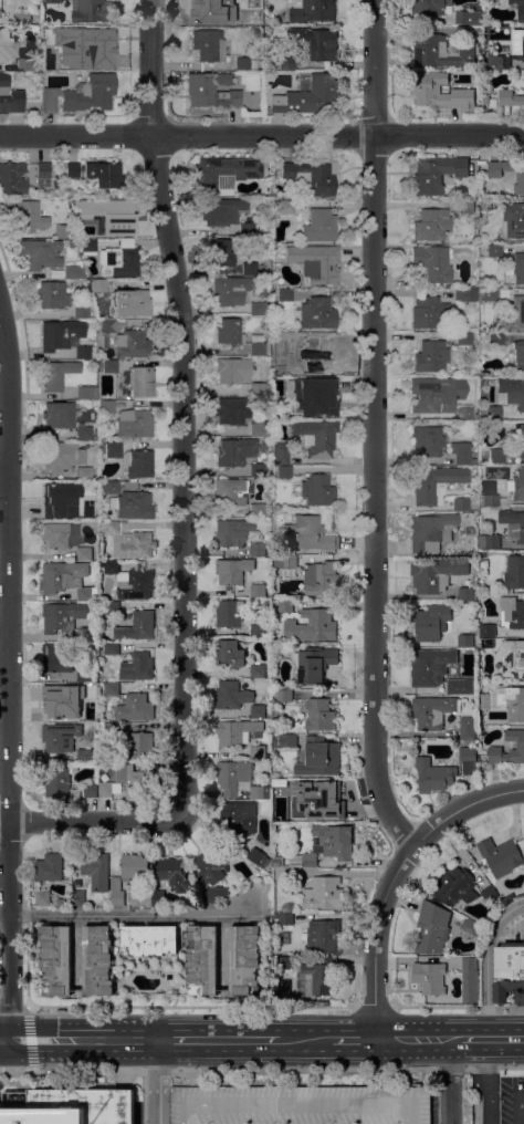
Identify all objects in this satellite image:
building: (53, 1)
building: (431, 7)
building: (518, 8)
building: (0, 9)
building: (209, 10)
building: (90, 11)
building: (313, 11)
building: (465, 18)
building: (23, 19)
building: (464, 33)
building: (7, 45)
building: (209, 45)
building: (322, 45)
building: (95, 46)
building: (441, 53)
building: (520, 53)
building: (499, 61)
building: (24, 63)
building: (59, 63)
building: (245, 63)
building: (261, 63)
building: (286, 63)
building: (4, 80)
building: (213, 91)
building: (436, 91)
building: (82, 94)
building: (308, 95)
building: (510, 97)
building: (486, 98)
building: (13, 102)
building: (243, 110)
building: (266, 110)
road: (261, 135)
building: (268, 160)
building: (60, 163)
building: (72, 169)
building: (105, 173)
building: (226, 173)
building: (43, 174)
building: (437, 174)
building: (313, 175)
building: (12, 177)
building: (521, 181)
building: (56, 183)
building: (284, 206)
building: (467, 206)
building: (485, 206)
building: (78, 207)
building: (222, 210)
building: (24, 215)
building: (116, 219)
building: (513, 220)
building: (431, 223)
building: (319, 226)
building: (247, 229)
building: (63, 230)
building: (481, 239)
building: (73, 242)
building: (87, 244)
building: (495, 250)
building: (220, 252)
building: (41, 253)
building: (120, 260)
building: (317, 262)
building: (433, 262)
building: (517, 267)
building: (250, 268)
building: (74, 271)
building: (56, 272)
building: (99, 284)
building: (230, 290)
building: (52, 294)
building: (285, 294)
building: (467, 294)
building: (490, 294)
building: (127, 302)
building: (258, 308)
building: (518, 311)
building: (82, 312)
building: (431, 312)
building: (317, 313)
building: (109, 325)
building: (230, 331)
building: (66, 337)
building: (496, 337)
building: (465, 339)
building: (133, 343)
building: (258, 344)
building: (316, 352)
building: (518, 355)
building: (431, 356)
building: (108, 366)
building: (232, 370)
building: (59, 375)
building: (142, 382)
building: (286, 383)
building: (260, 388)
building: (87, 392)
building: (437, 394)
building: (515, 394)
building: (484, 399)
building: (321, 400)
building: (107, 406)
road: (185, 406)
building: (234, 410)
building: (465, 412)
building: (491, 412)
building: (56, 418)
building: (135, 424)
building: (258, 429)
building: (87, 431)
building: (317, 436)
building: (520, 438)
building: (428, 441)
building: (113, 450)
building: (235, 451)
building: (461, 452)
building: (282, 454)
building: (493, 455)
building: (63, 456)
building: (140, 464)
building: (258, 469)
building: (285, 471)
road: (4, 473)
building: (85, 473)
building: (436, 483)
building: (518, 485)
building: (109, 487)
building: (318, 490)
building: (231, 491)
building: (489, 500)
building: (60, 501)
building: (461, 503)
building: (133, 504)
building: (474, 506)
building: (258, 509)
building: (513, 524)
road: (376, 530)
building: (432, 531)
building: (308, 534)
building: (63, 535)
building: (241, 535)
building: (490, 542)
building: (130, 543)
building: (85, 554)
building: (285, 561)
building: (233, 571)
building: (514, 574)
building: (438, 575)
building: (66, 579)
building: (322, 580)
building: (130, 581)
building: (258, 591)
building: (467, 594)
building: (285, 606)
building: (112, 608)
building: (512, 613)
building: (231, 614)
building: (63, 620)
building: (431, 623)
building: (138, 627)
building: (312, 627)
building: (259, 631)
building: (85, 635)
building: (488, 635)
building: (467, 642)
road: (4, 647)
building: (112, 648)
building: (230, 654)
building: (59, 657)
building: (513, 658)
building: (315, 664)
building: (430, 666)
building: (138, 667)
building: (258, 672)
road: (9, 673)
building: (85, 674)
building: (461, 686)
building: (93, 687)
building: (112, 689)
building: (232, 696)
building: (285, 696)
building: (64, 697)
building: (505, 702)
building: (136, 708)
building: (258, 712)
building: (432, 712)
building: (319, 715)
building: (85, 716)
building: (112, 729)
building: (468, 729)
building: (237, 732)
building: (61, 737)
building: (285, 741)
building: (521, 745)
building: (137, 746)
building: (258, 752)
building: (85, 756)
building: (319, 758)
building: (468, 759)
building: (433, 776)
building: (233, 777)
building: (136, 783)
building: (61, 784)
building: (291, 785)
building: (91, 790)
building: (106, 790)
building: (261, 793)
building: (323, 803)
road: (464, 806)
building: (239, 818)
road: (92, 821)
building: (334, 842)
building: (501, 857)
building: (259, 858)
building: (310, 861)
building: (211, 865)
building: (134, 866)
building: (50, 867)
building: (97, 871)
building: (293, 873)
building: (174, 874)
building: (454, 886)
building: (117, 892)
building: (216, 894)
building: (324, 894)
building: (490, 894)
building: (43, 898)
building: (78, 898)
building: (159, 898)
building: (509, 898)
building: (59, 903)
road: (127, 914)
building: (286, 918)
building: (432, 928)
building: (471, 928)
building: (322, 936)
building: (149, 940)
building: (56, 959)
building: (244, 959)
building: (203, 960)
building: (97, 961)
road: (488, 962)
building: (283, 964)
building: (509, 972)
building: (432, 978)
building: (315, 980)
building: (470, 980)
road: (371, 1007)
road: (457, 1007)
road: (12, 1008)
road: (190, 1008)
road: (4, 1040)
road: (83, 1040)
road: (219, 1040)
road: (327, 1040)
road: (412, 1040)
road: (459, 1040)
road: (476, 1040)
road: (505, 1040)
road: (485, 1055)
road: (261, 1069)
road: (157, 1082)
road: (451, 1082)
road: (478, 1096)
road: (491, 1096)
parking lot: (505, 1103)
building: (300, 1105)
parking garage: (300, 1105)
road: (300, 1105)
building: (74, 1107)
road: (187, 1111)
road: (521, 1111)
road: (408, 1112)

